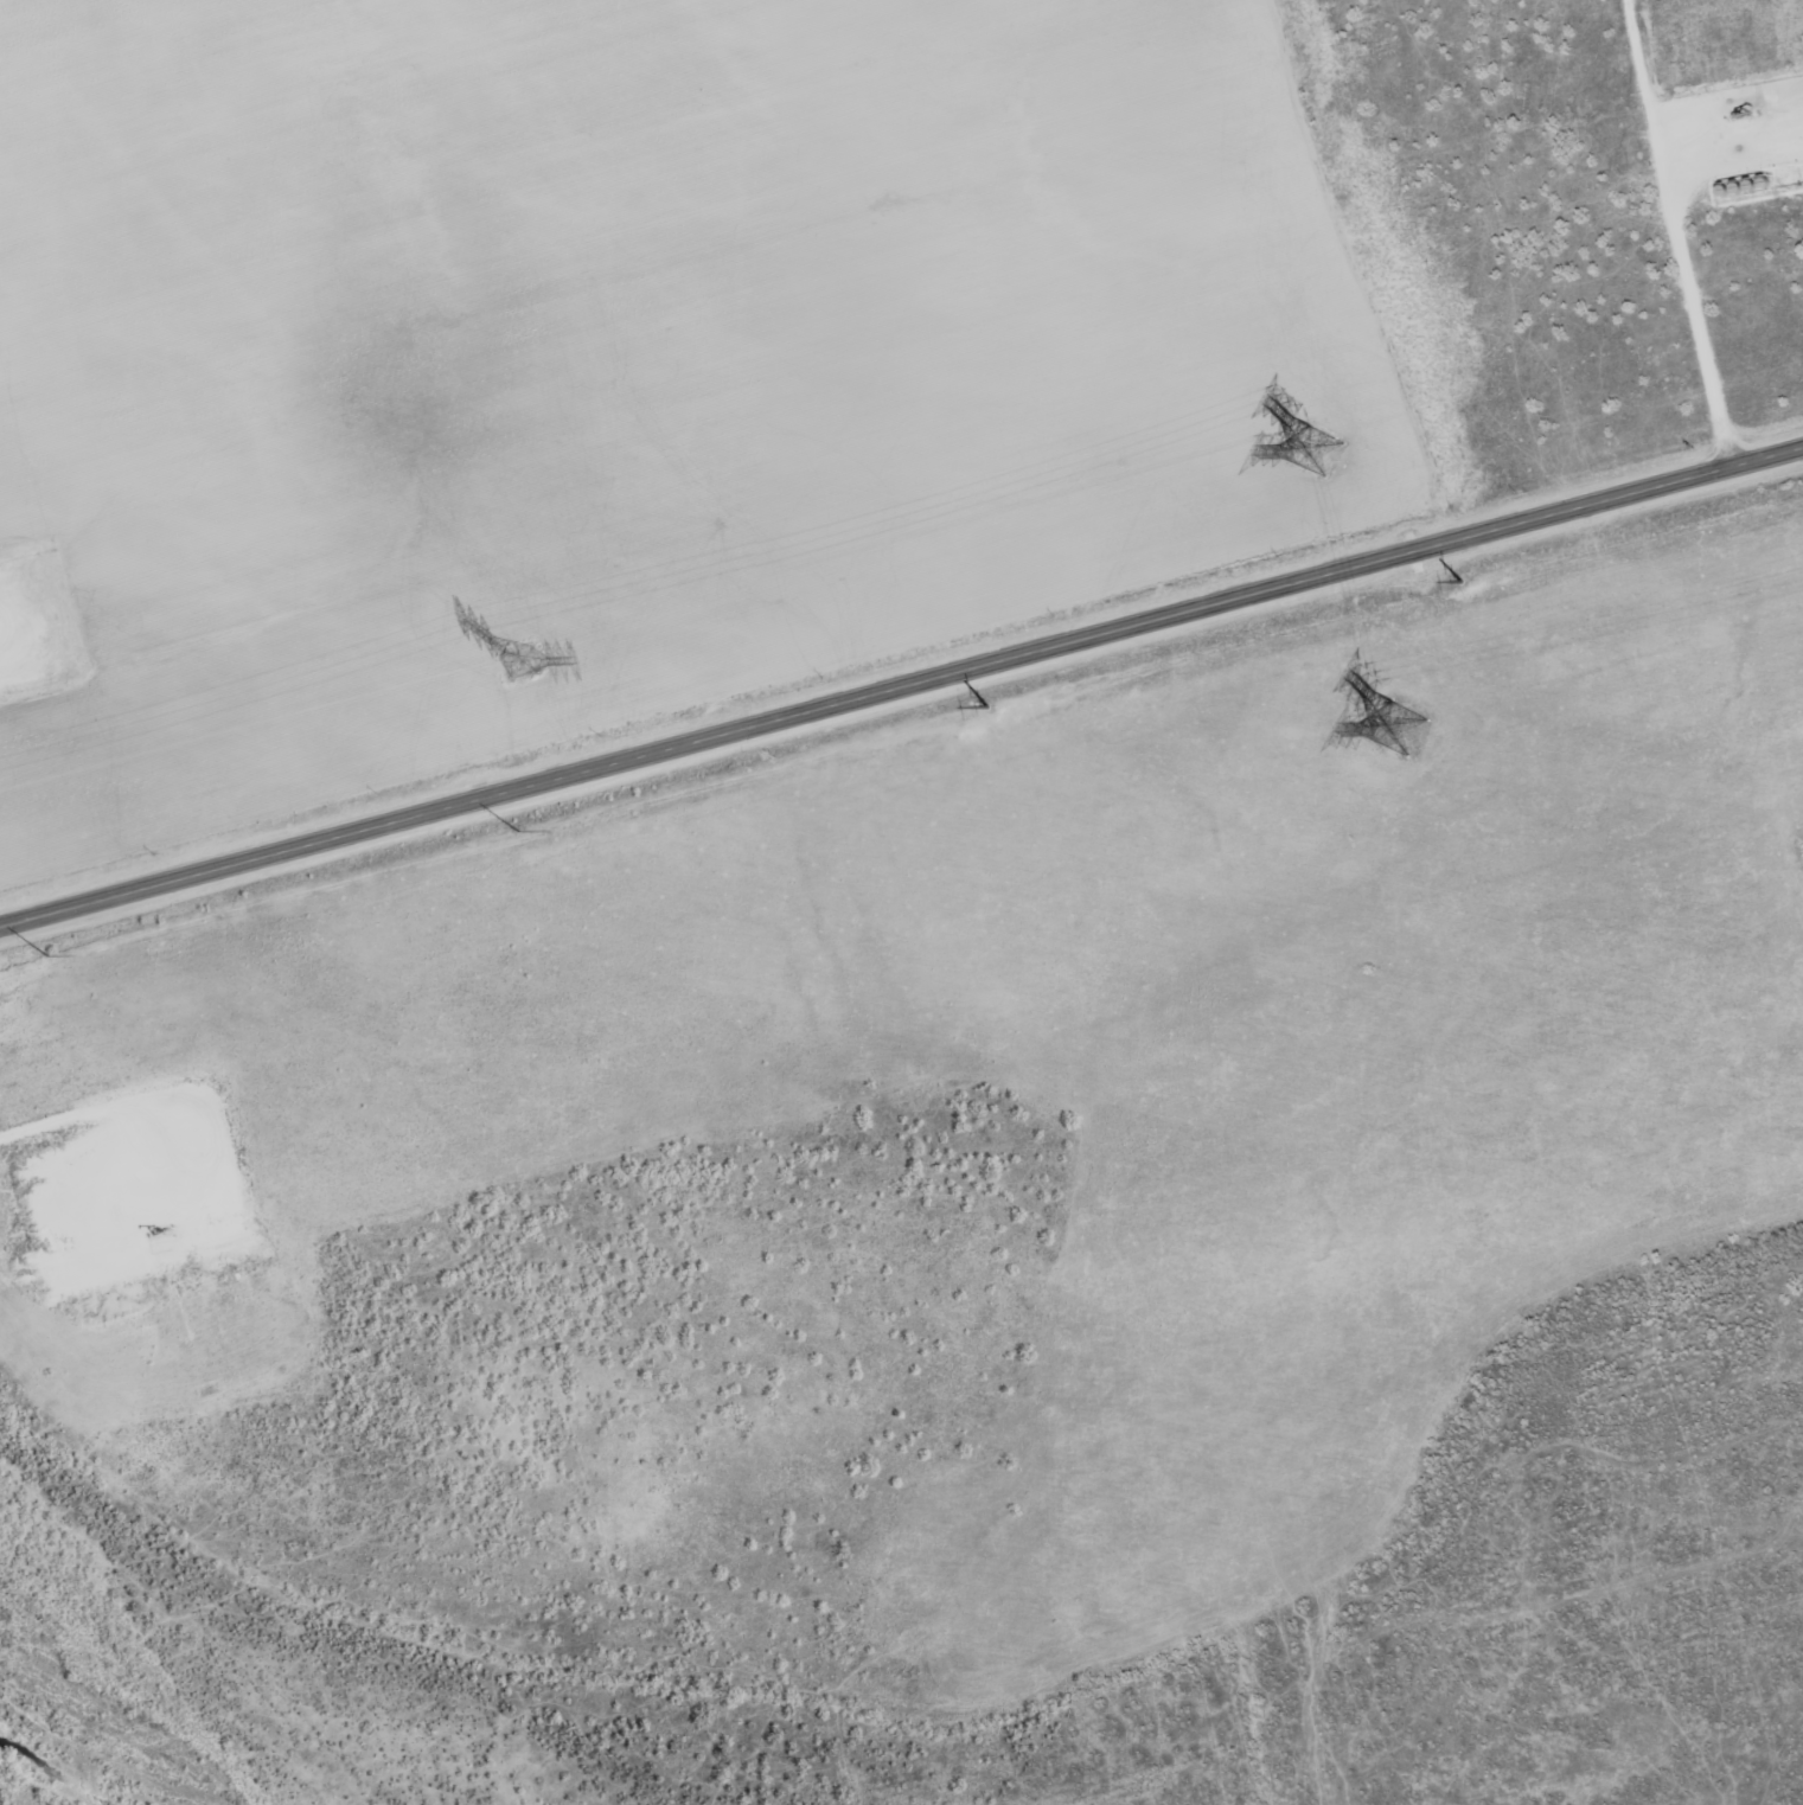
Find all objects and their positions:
building: (1714, 55)
road: (1677, 236)
power tower: (1318, 449)
power tower: (1449, 582)
power tower: (519, 663)
road: (901, 692)
power tower: (976, 708)
power tower: (1399, 728)
power tower: (506, 830)
power tower: (34, 954)
river: (45, 1773)

